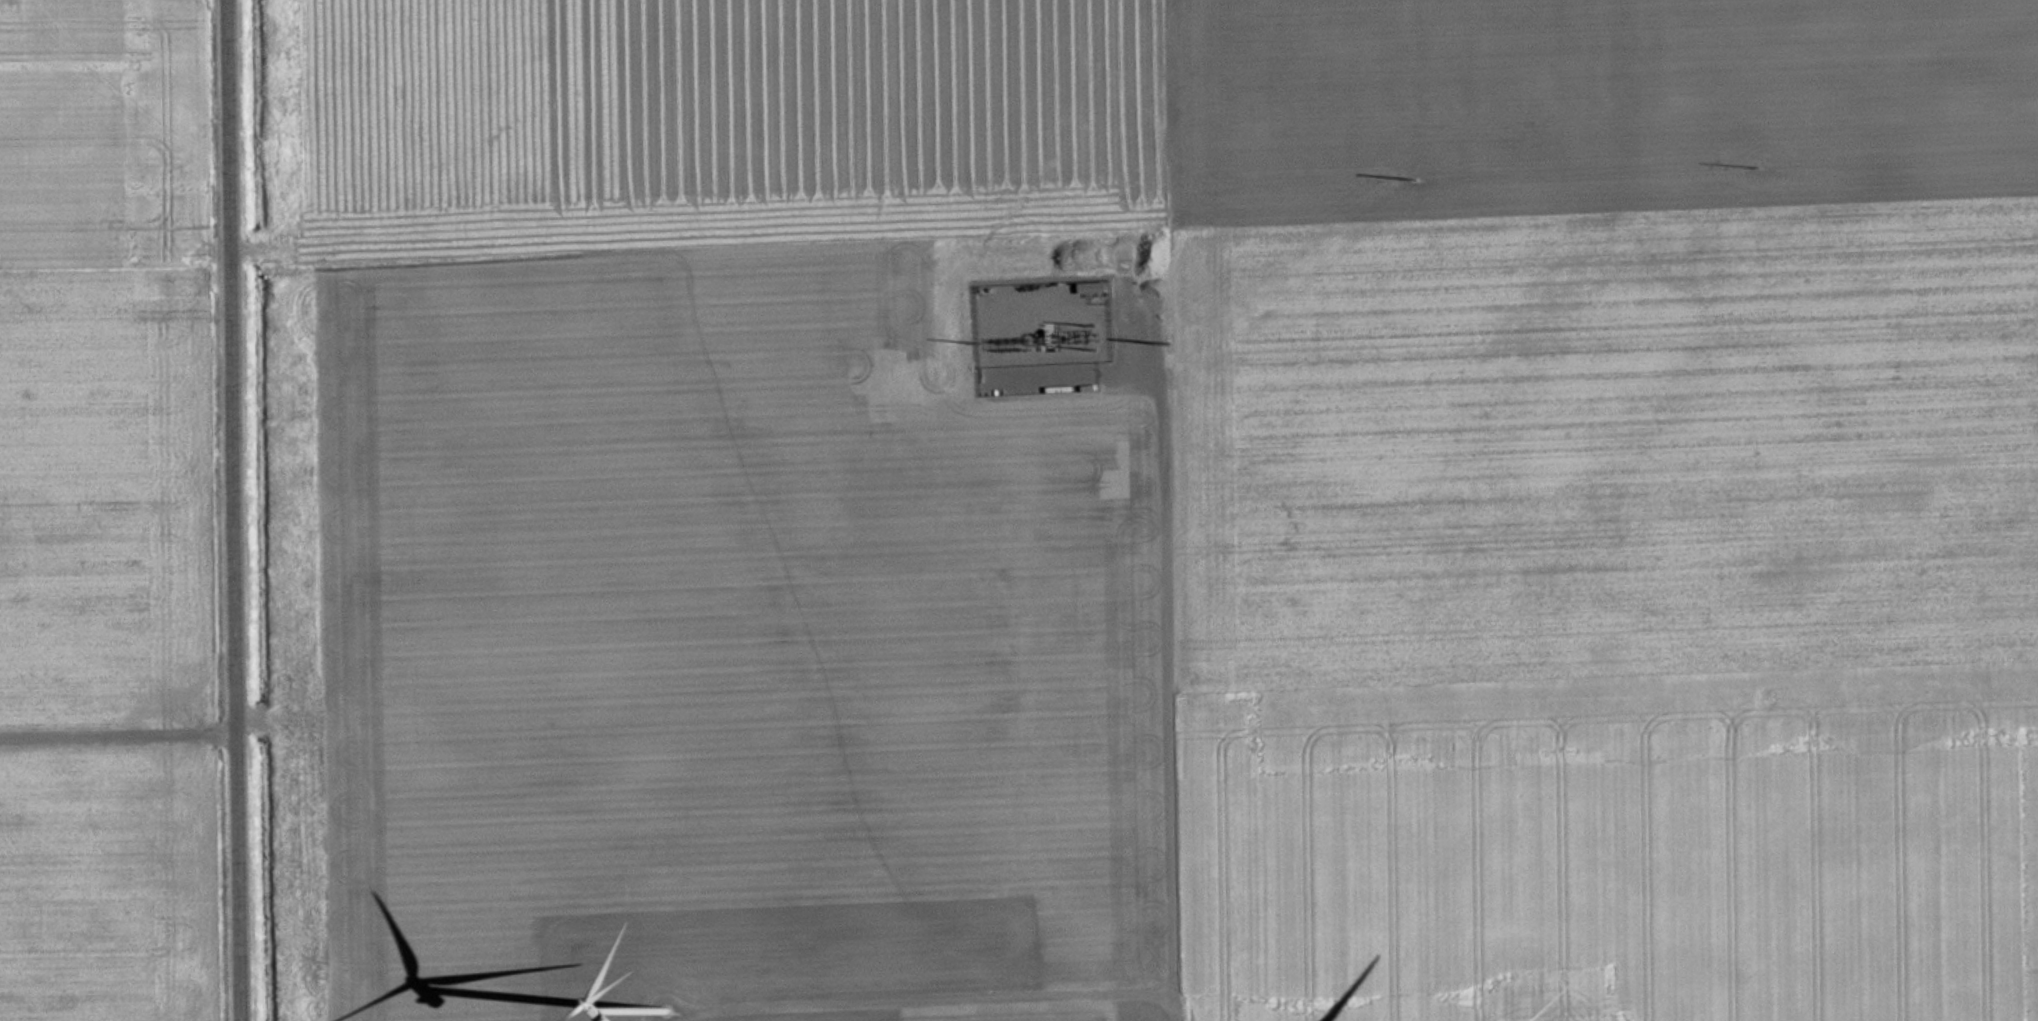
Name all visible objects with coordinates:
power substation: (1039, 321)
road: (245, 510)
road: (1165, 598)
wind turbine: (651, 1006)

